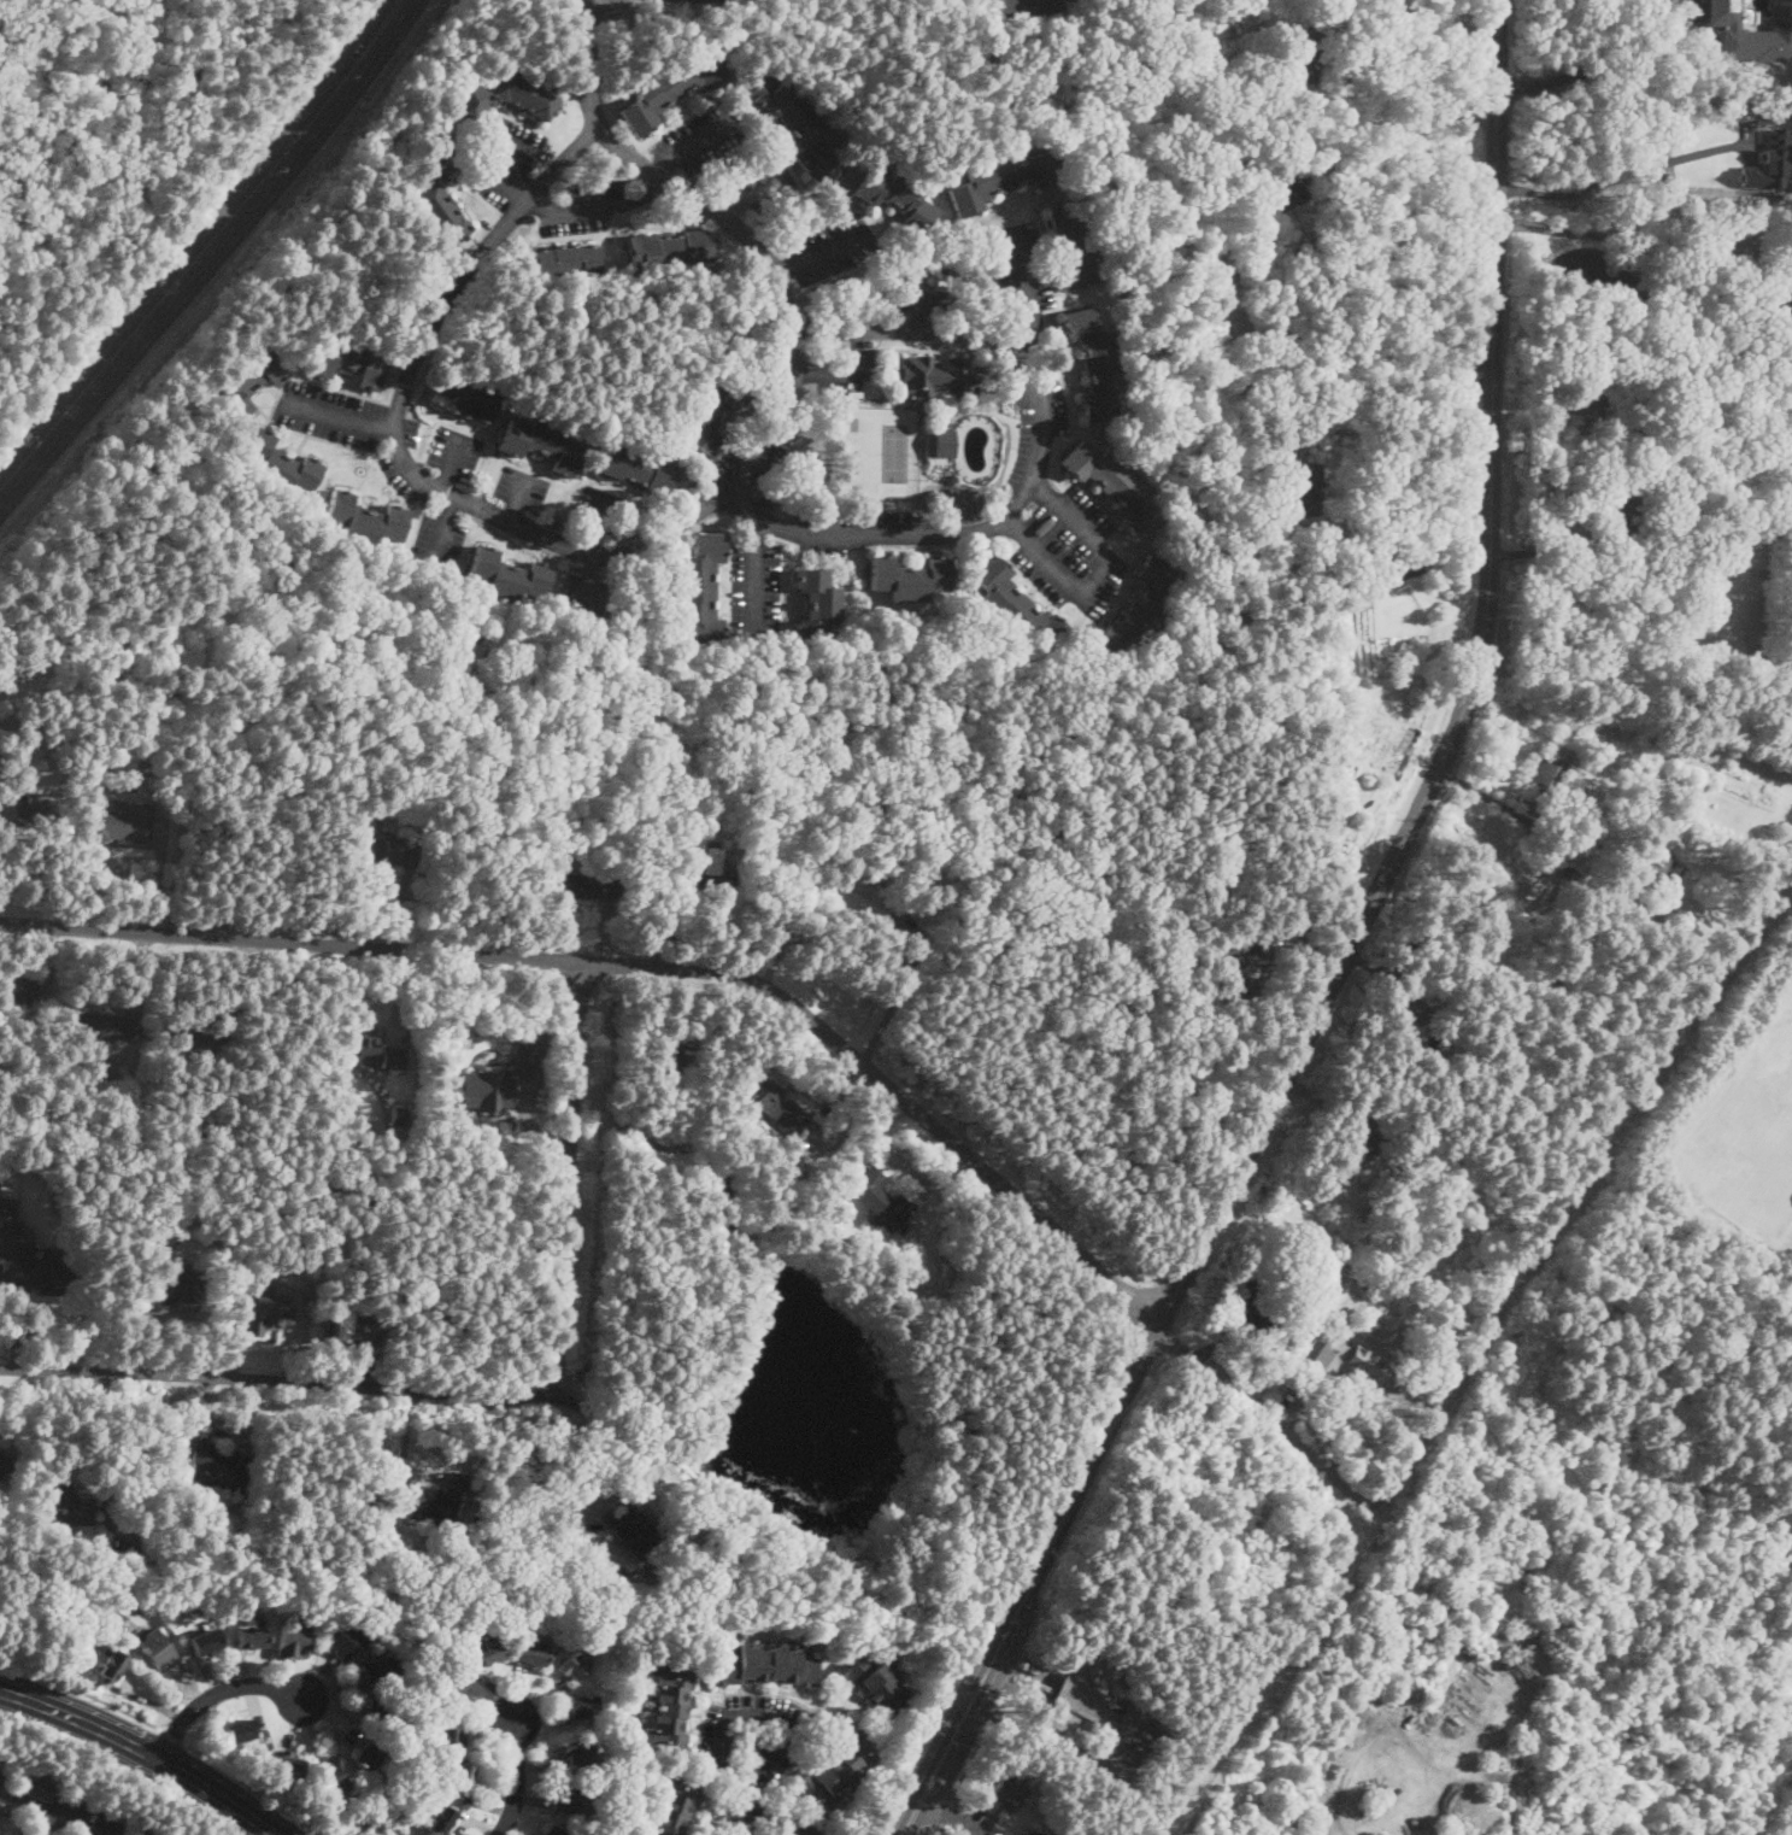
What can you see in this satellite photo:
building: (1028, 7)
building: (1259, 8)
building: (1721, 11)
road: (1444, 23)
building: (1759, 37)
building: (1302, 60)
road: (583, 64)
road: (1592, 65)
road: (1409, 75)
building: (670, 88)
building: (504, 98)
building: (794, 123)
parking lot: (705, 135)
road: (694, 143)
building: (1242, 153)
parking lot: (504, 160)
building: (1772, 160)
road: (501, 174)
building: (1001, 178)
road: (1605, 181)
building: (1285, 183)
parking lot: (764, 186)
road: (751, 189)
building: (440, 193)
building: (897, 197)
parking lot: (582, 206)
road: (598, 206)
building: (1236, 222)
road: (1606, 234)
building: (1075, 245)
road: (205, 248)
parking lot: (830, 248)
building: (670, 251)
road: (822, 251)
building: (565, 262)
building: (1191, 263)
building: (976, 274)
parking lot: (1021, 274)
parking lot: (923, 280)
building: (832, 285)
road: (922, 293)
road: (1026, 298)
building: (1775, 310)
road: (1367, 338)
building: (348, 359)
building: (1094, 363)
parking lot: (845, 369)
road: (847, 371)
parking lot: (777, 375)
building: (934, 375)
building: (248, 381)
parking lot: (1054, 397)
building: (463, 398)
building: (1587, 401)
parking lot: (330, 414)
building: (711, 414)
road: (342, 417)
parking lot: (409, 430)
building: (945, 442)
building: (542, 444)
parking lot: (1022, 444)
parking lot: (782, 446)
park: (854, 450)
park: (897, 451)
parking lot: (456, 452)
road: (452, 462)
parking lot: (723, 462)
building: (278, 464)
building: (638, 467)
road: (1036, 474)
parking lot: (399, 477)
building: (1114, 485)
parking lot: (521, 487)
building: (483, 488)
building: (1309, 488)
road: (519, 499)
parking lot: (600, 510)
building: (1626, 511)
building: (798, 515)
parking lot: (865, 515)
building: (364, 520)
road: (600, 524)
road: (442, 535)
building: (1263, 538)
parking lot: (437, 547)
parking lot: (824, 549)
road: (598, 550)
parking lot: (1070, 550)
building: (1194, 551)
road: (1417, 567)
road: (756, 574)
road: (1100, 575)
building: (509, 576)
building: (910, 578)
road: (586, 582)
building: (700, 590)
parking lot: (756, 590)
building: (1280, 591)
parking lot: (584, 594)
building: (816, 605)
building: (1305, 605)
building: (1016, 608)
building: (1139, 611)
building: (1245, 614)
building: (1645, 738)
building: (140, 748)
building: (1544, 787)
building: (28, 815)
building: (121, 823)
building: (390, 854)
building: (1653, 861)
building: (1543, 862)
building: (705, 874)
building: (1638, 884)
building: (587, 886)
building: (859, 898)
road: (1346, 954)
road: (642, 962)
building: (1248, 967)
building: (16, 993)
building: (1408, 1012)
building: (102, 1027)
building: (183, 1039)
building: (375, 1051)
building: (664, 1056)
building: (500, 1080)
building: (775, 1103)
building: (399, 1115)
building: (1359, 1142)
building: (388, 1154)
building: (718, 1184)
building: (184, 1189)
road: (1580, 1191)
building: (881, 1198)
building: (6, 1213)
building: (169, 1227)
building: (732, 1227)
building: (34, 1268)
building: (181, 1279)
building: (262, 1309)
building: (1253, 1312)
building: (347, 1327)
building: (1327, 1361)
road: (499, 1396)
road: (1270, 1418)
building: (212, 1460)
building: (2, 1464)
road: (644, 1479)
building: (440, 1499)
building: (66, 1506)
building: (638, 1535)
building: (460, 1548)
building: (576, 1549)
building: (88, 1567)
building: (193, 1595)
building: (151, 1606)
building: (251, 1637)
building: (522, 1637)
building: (343, 1640)
building: (205, 1642)
building: (293, 1642)
building: (155, 1648)
building: (484, 1653)
building: (533, 1653)
building: (574, 1665)
building: (111, 1666)
building: (765, 1666)
building: (381, 1667)
road: (1273, 1677)
building: (875, 1683)
building: (450, 1688)
road: (216, 1692)
road: (83, 1693)
building: (1082, 1693)
building: (580, 1706)
building: (378, 1708)
building: (669, 1711)
road: (756, 1713)
building: (239, 1731)
building: (447, 1735)
road: (176, 1736)
building: (1162, 1736)
road: (924, 1739)
building: (577, 1749)
road: (145, 1752)
building: (1159, 1754)
building: (369, 1755)
building: (260, 1757)
building: (289, 1766)
road: (118, 1769)
building: (838, 1769)
building: (411, 1772)
building: (333, 1776)
road: (515, 1778)
building: (460, 1780)
building: (34, 1784)
road: (255, 1788)
building: (1006, 1793)
building: (572, 1800)
building: (672, 1805)
road: (1347, 1805)
building: (371, 1807)
road: (741, 1808)
road: (46, 1810)
building: (383, 1813)
road: (950, 1816)
building: (441, 1819)
road: (46, 1823)
building: (792, 1827)
building: (142, 1831)
building: (556, 1831)
building: (1034, 1833)
building: (407, 1834)
road: (1791, 1834)

